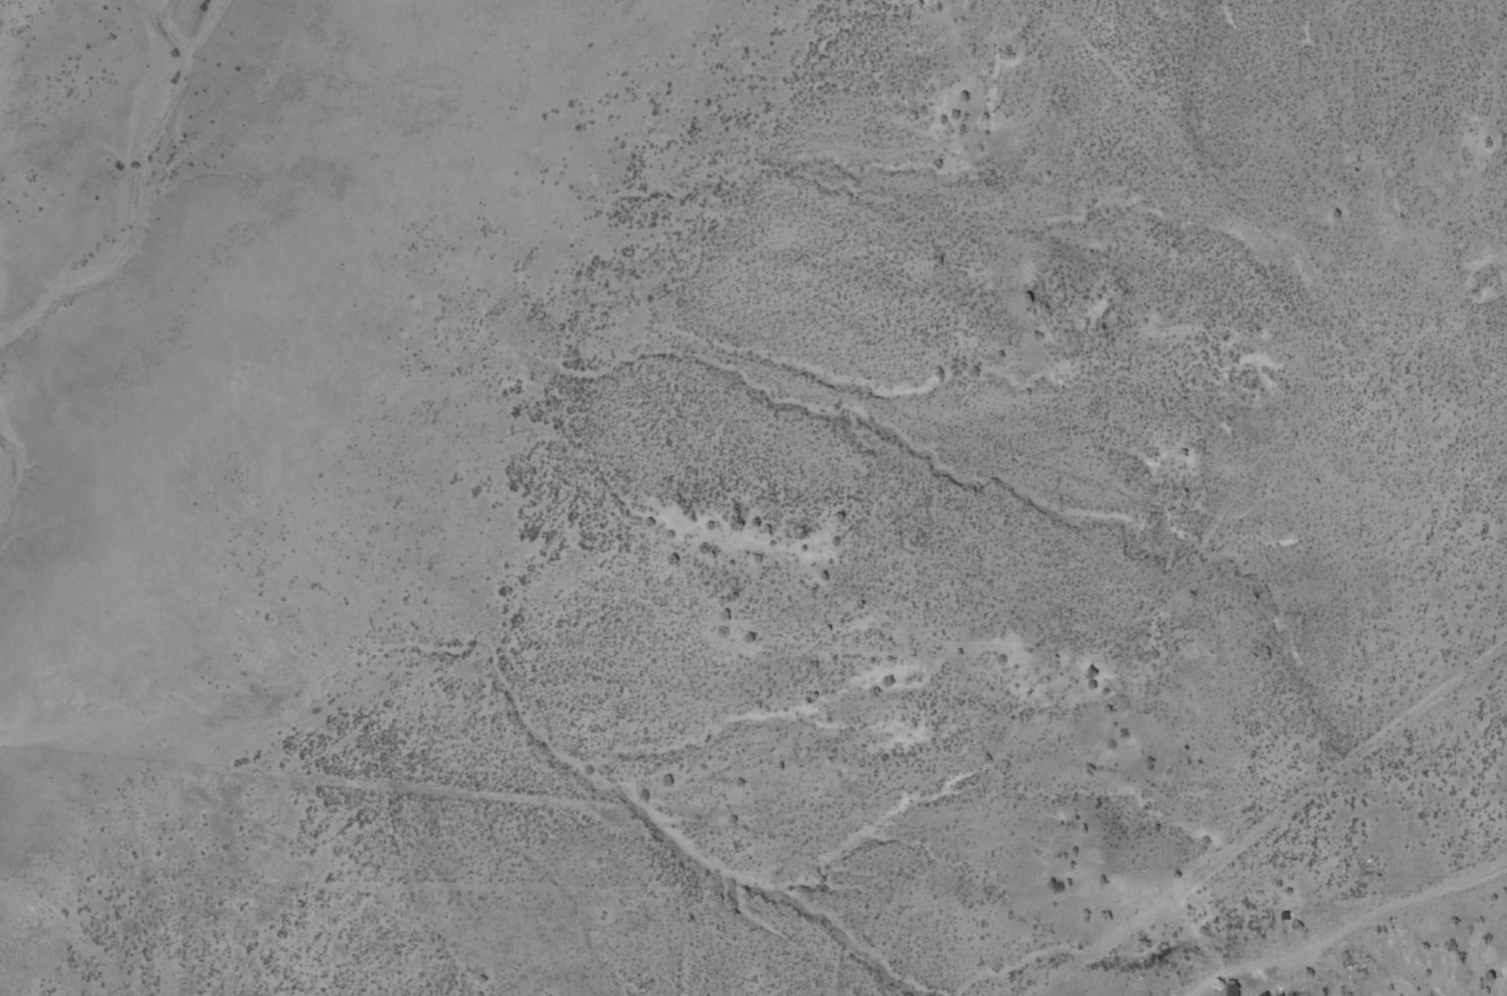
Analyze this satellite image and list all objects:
road: (1375, 910)
road: (1241, 988)
building: (1232, 989)

